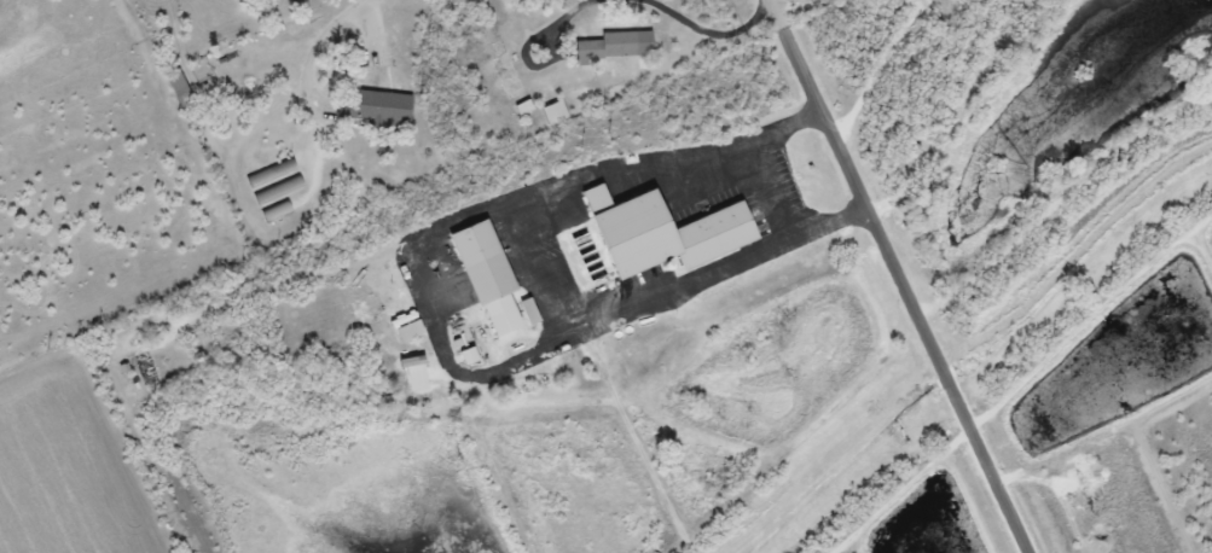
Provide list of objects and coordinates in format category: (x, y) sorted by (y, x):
building: (610, 48)
road: (813, 63)
road: (318, 85)
building: (179, 87)
building: (404, 109)
building: (273, 182)
building: (667, 233)
road: (500, 238)
building: (491, 278)
road: (940, 342)

